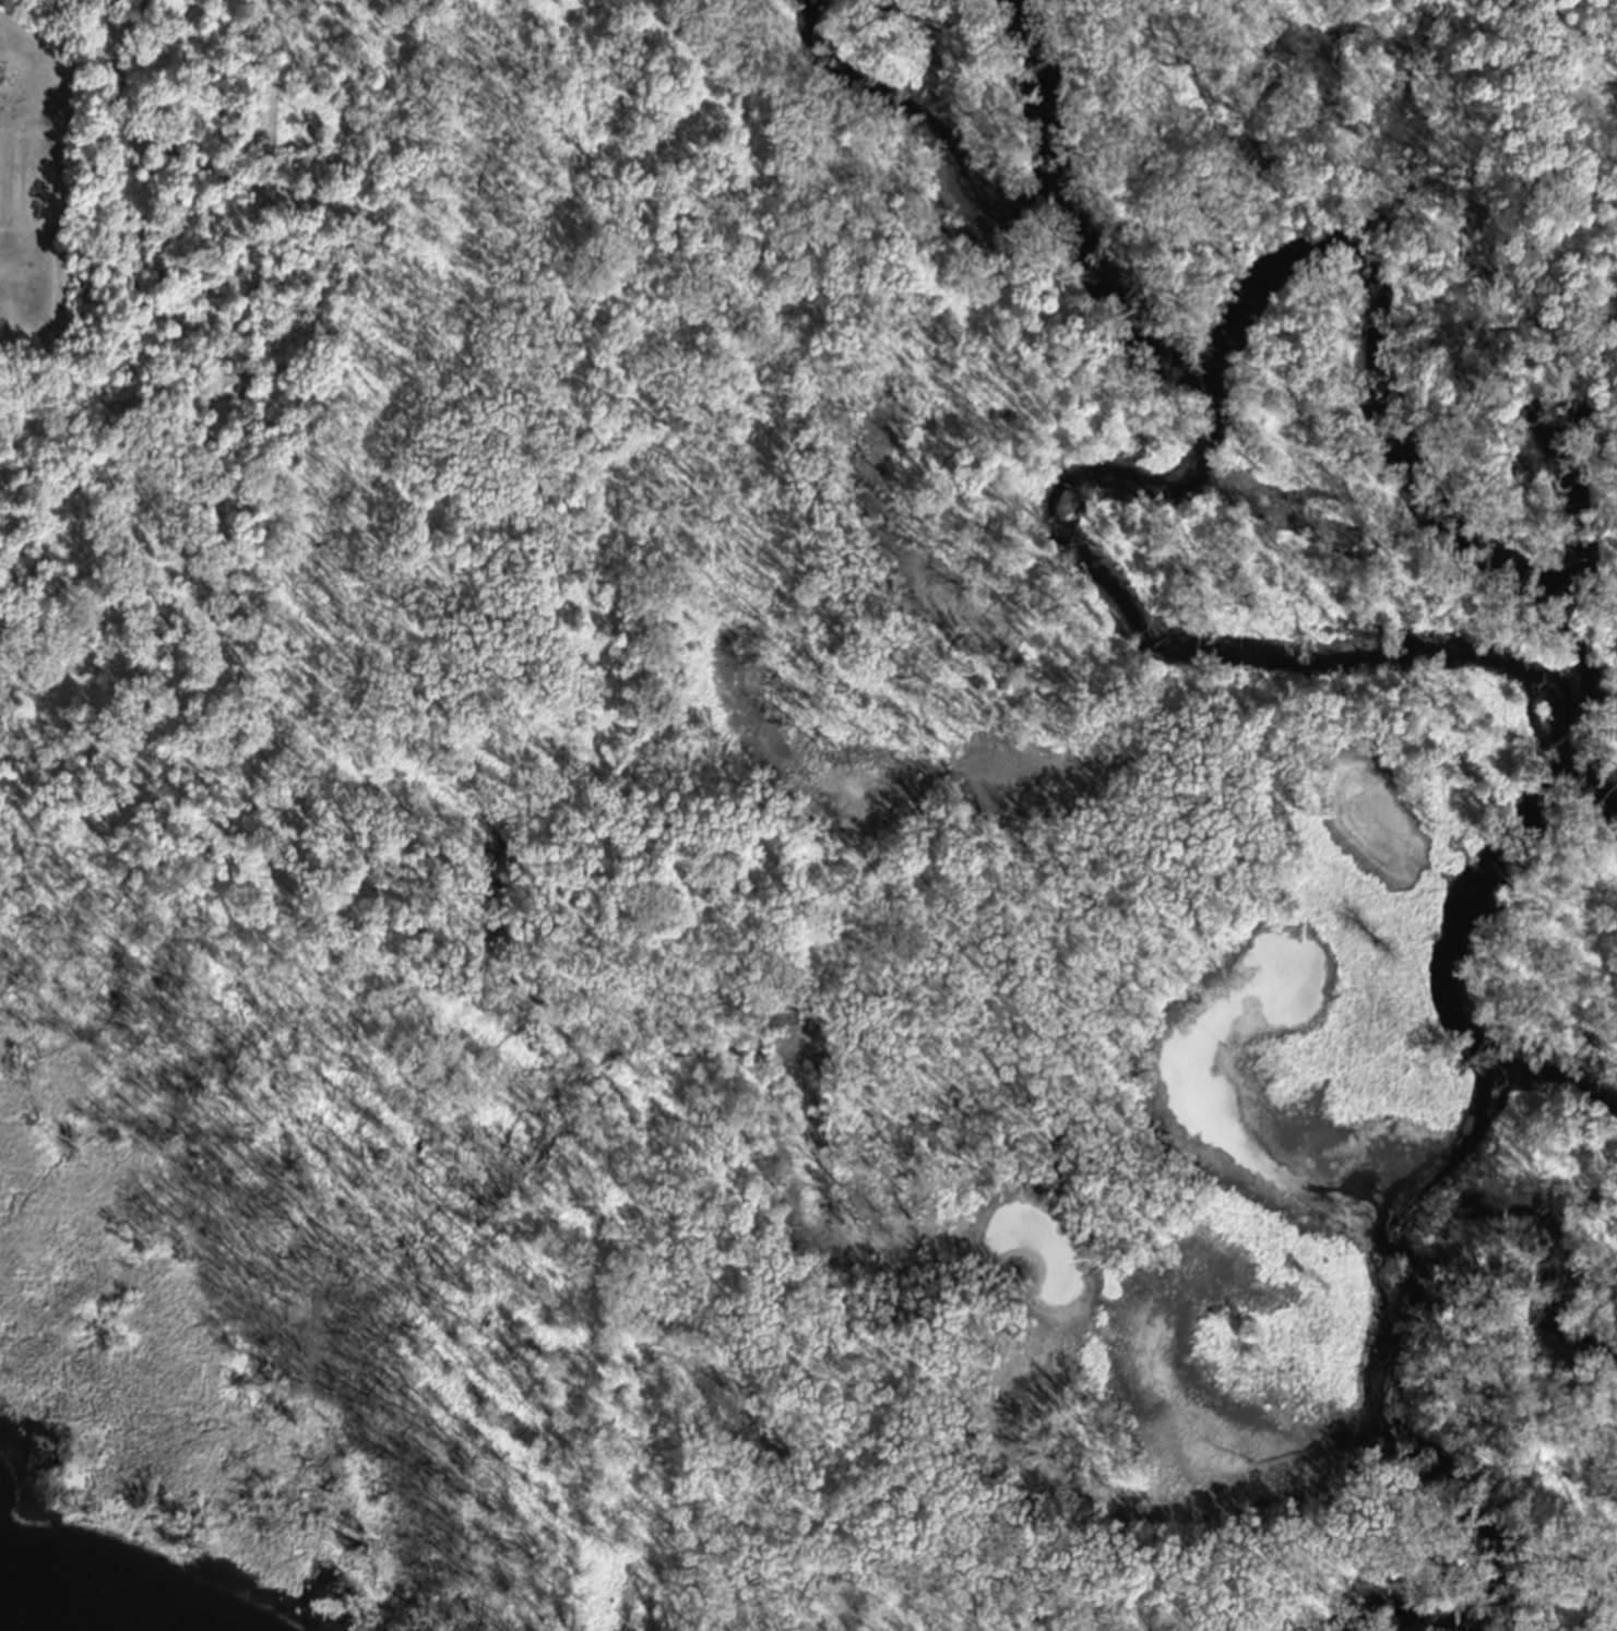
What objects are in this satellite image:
river: (1367, 319)
river: (1500, 936)
river: (1417, 1366)

